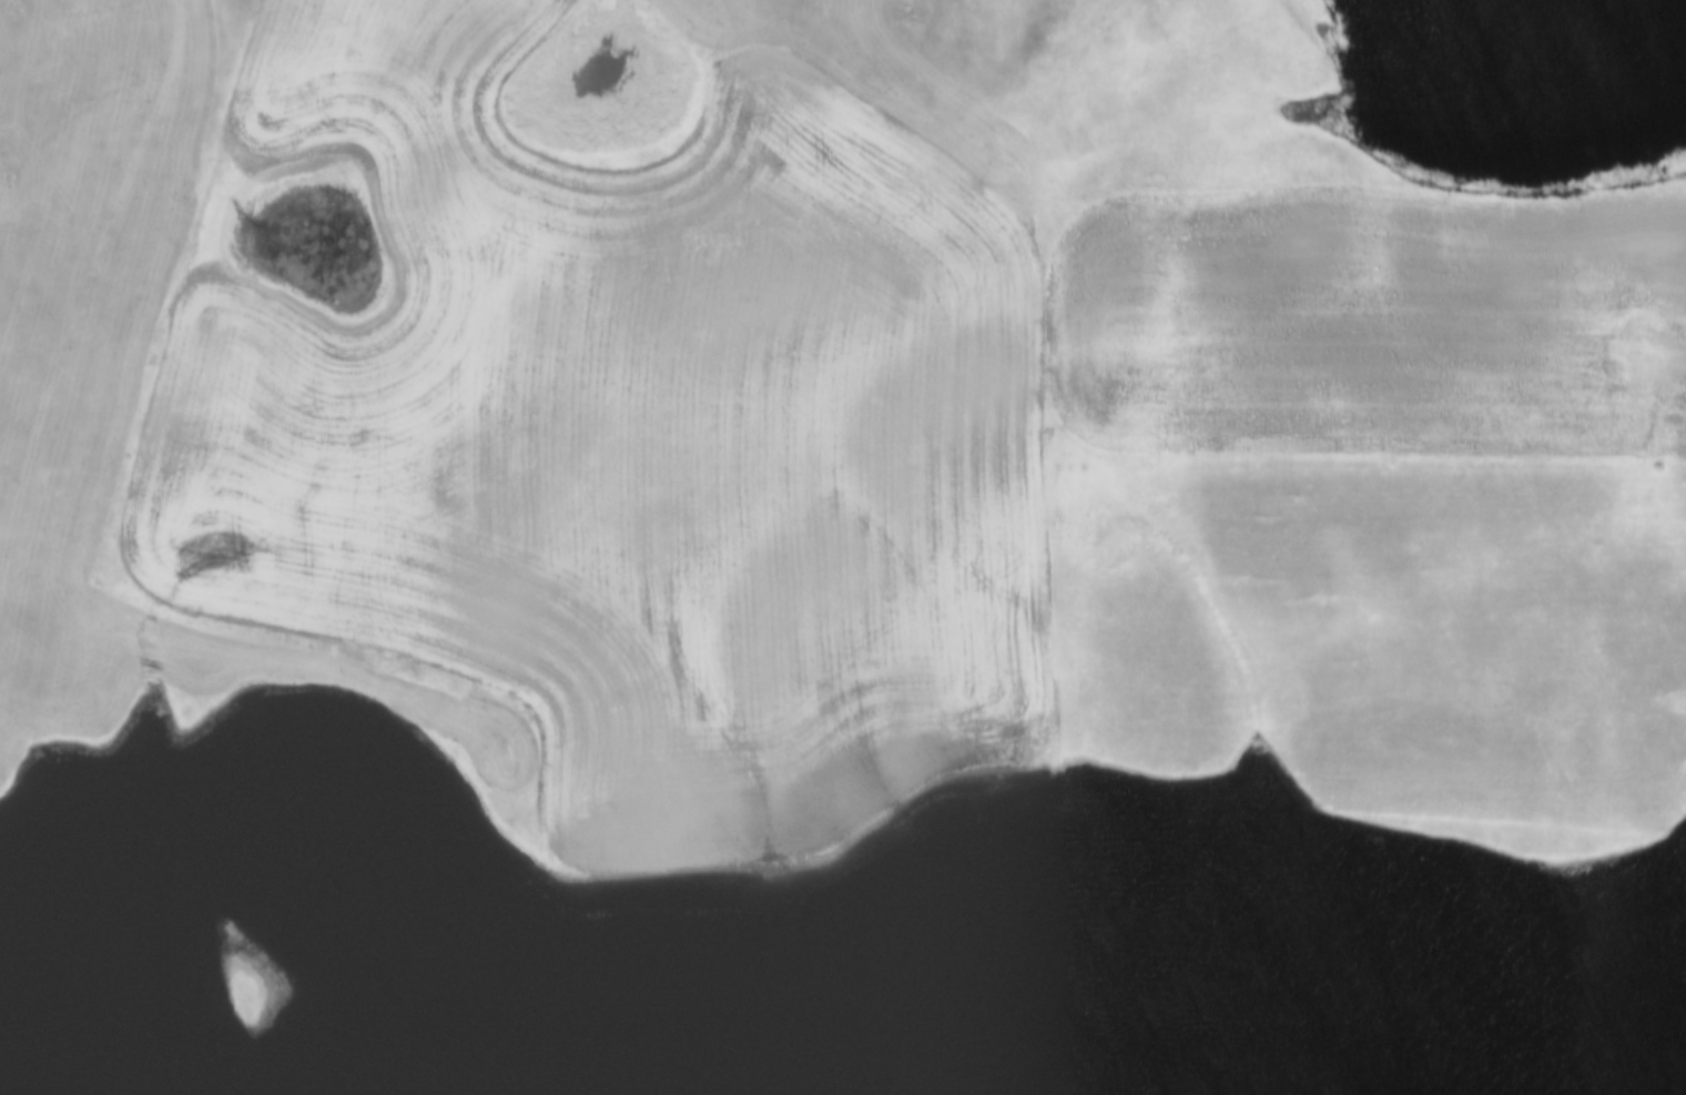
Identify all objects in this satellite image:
road: (1500, 114)

